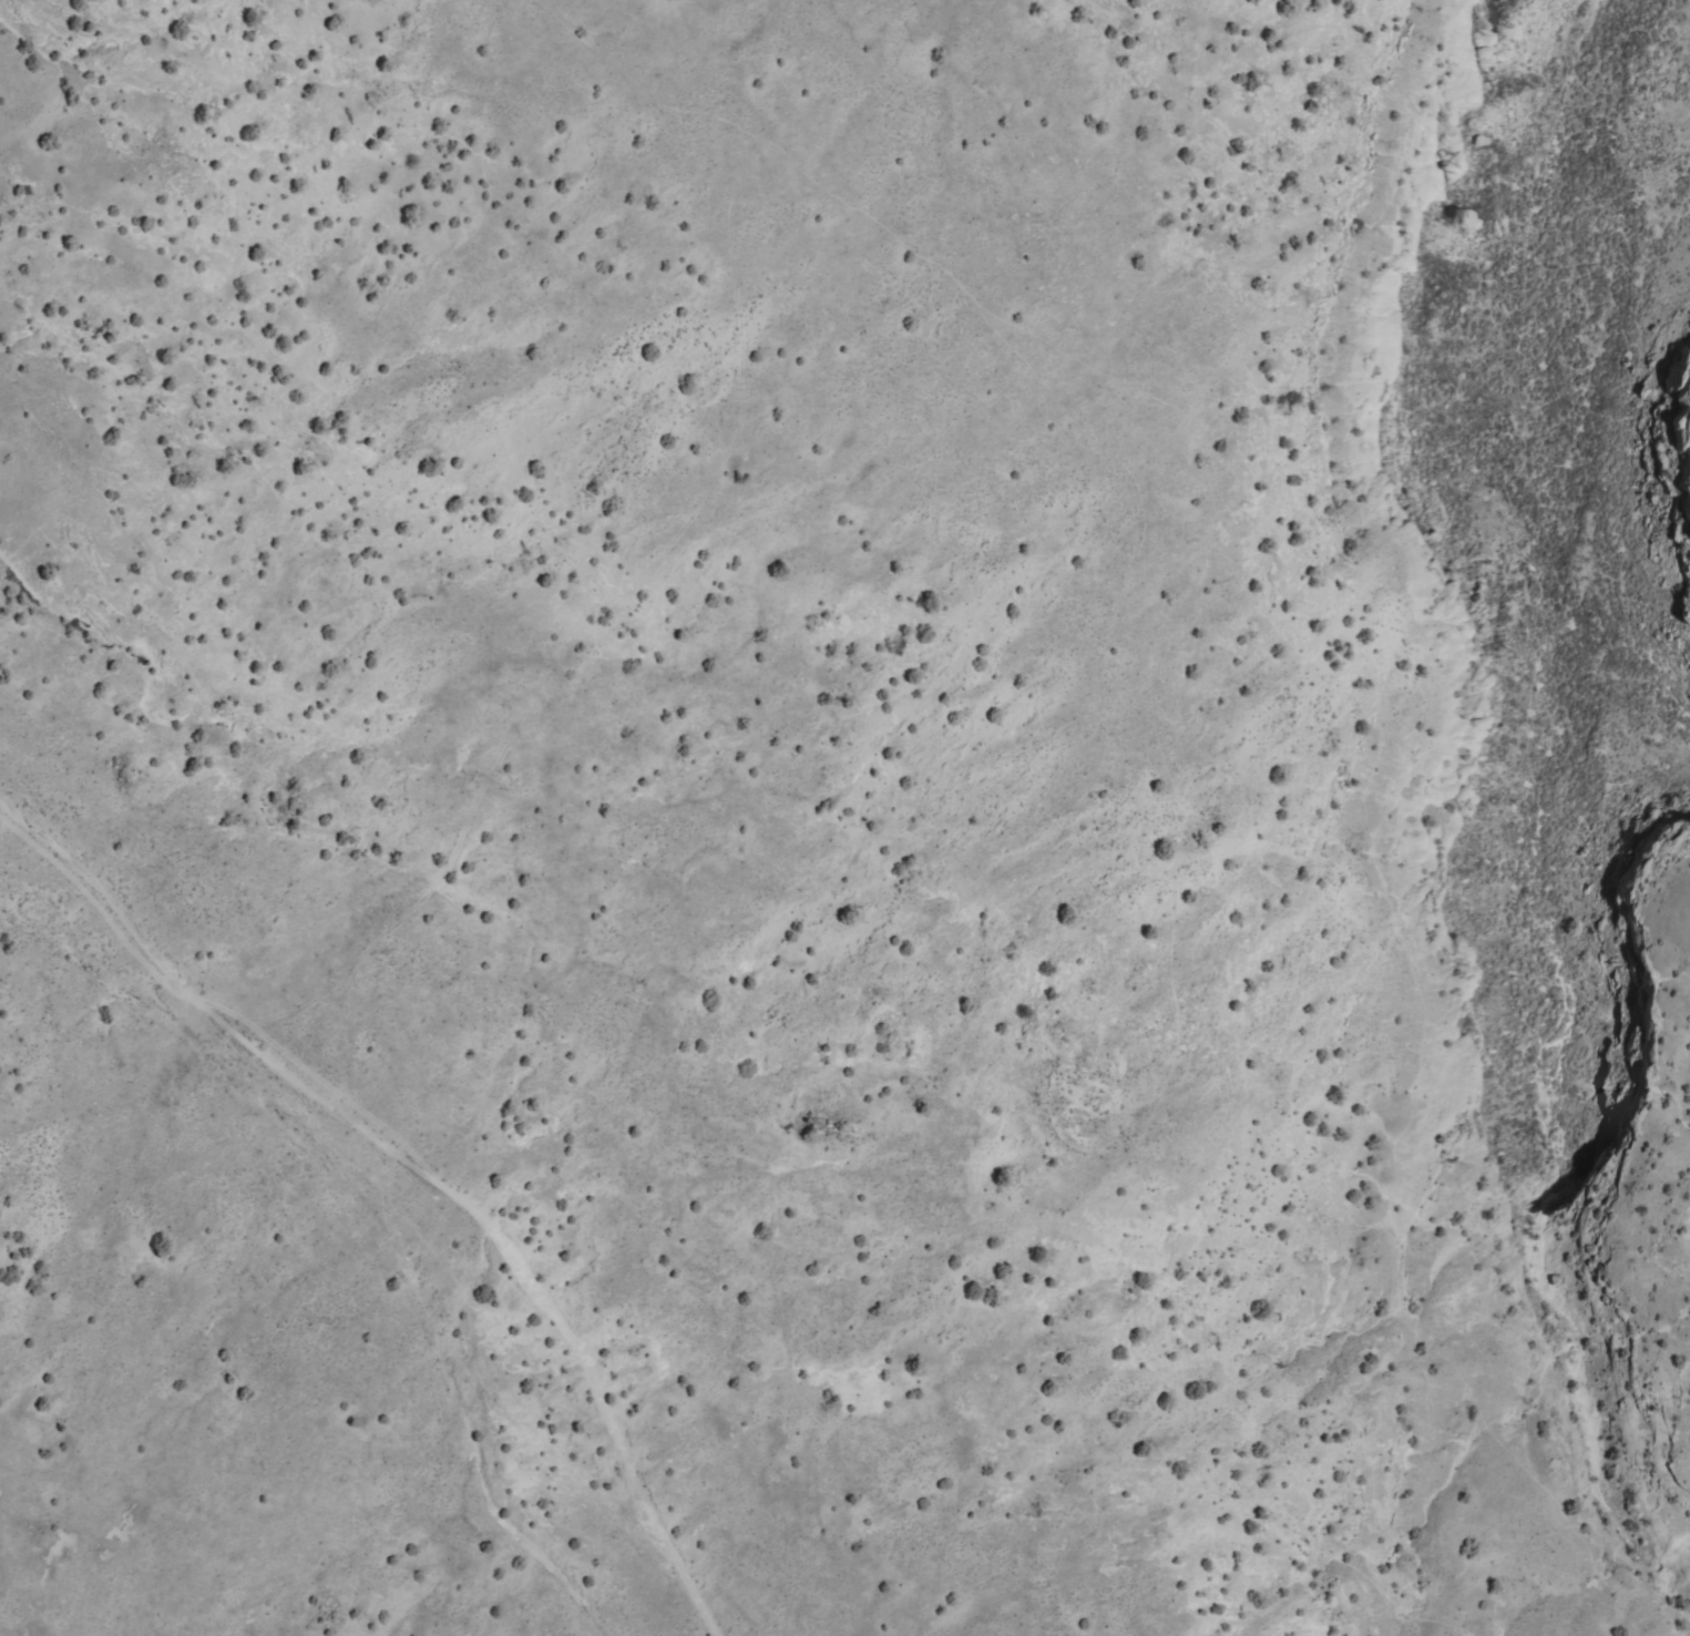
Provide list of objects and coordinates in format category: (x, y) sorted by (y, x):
road: (386, 1190)

